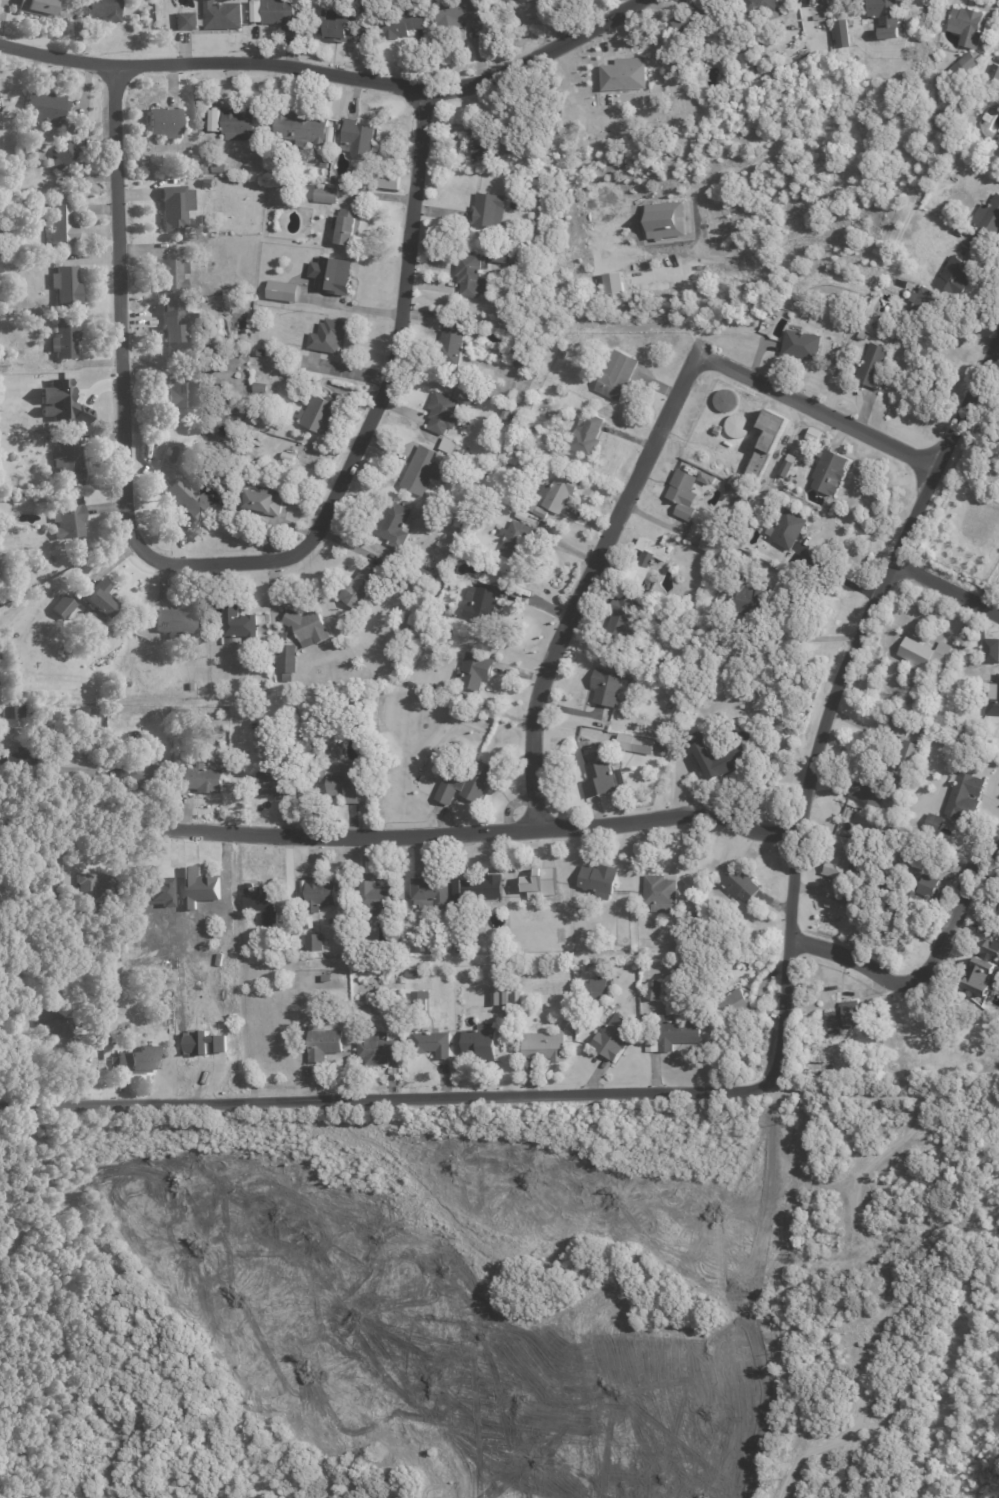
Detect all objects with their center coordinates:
building: (518, 0)
building: (513, 1)
building: (529, 1)
building: (760, 6)
building: (38, 7)
building: (105, 9)
building: (460, 12)
building: (885, 12)
building: (281, 13)
building: (222, 15)
building: (693, 20)
building: (187, 21)
building: (406, 24)
building: (338, 26)
building: (968, 26)
building: (835, 34)
building: (742, 43)
building: (764, 55)
building: (750, 59)
building: (998, 60)
building: (970, 61)
building: (620, 73)
road: (332, 74)
building: (994, 74)
building: (46, 107)
building: (216, 121)
building: (167, 123)
building: (239, 124)
building: (302, 129)
building: (358, 139)
building: (998, 142)
building: (489, 143)
building: (998, 153)
building: (65, 155)
building: (195, 159)
building: (324, 164)
building: (220, 168)
building: (948, 168)
building: (207, 170)
building: (326, 181)
building: (389, 181)
building: (208, 183)
building: (327, 194)
building: (177, 207)
building: (489, 209)
building: (989, 218)
building: (661, 219)
building: (62, 224)
building: (347, 227)
building: (957, 232)
building: (524, 246)
building: (501, 256)
building: (1, 266)
building: (471, 273)
building: (172, 275)
building: (332, 275)
building: (959, 277)
building: (610, 282)
building: (68, 287)
building: (284, 291)
building: (187, 299)
building: (511, 303)
road: (685, 303)
building: (926, 307)
building: (511, 318)
building: (177, 328)
building: (329, 337)
building: (67, 338)
building: (453, 338)
building: (802, 343)
building: (523, 352)
building: (262, 353)
building: (562, 355)
building: (494, 359)
road: (997, 360)
building: (875, 367)
building: (617, 374)
building: (259, 389)
building: (186, 392)
building: (468, 396)
building: (721, 399)
building: (57, 401)
road: (824, 409)
building: (443, 412)
building: (507, 413)
building: (320, 414)
building: (733, 425)
building: (531, 429)
building: (719, 429)
building: (230, 433)
building: (810, 434)
building: (587, 435)
building: (767, 442)
building: (448, 445)
building: (460, 452)
building: (250, 453)
building: (288, 457)
building: (467, 457)
building: (70, 458)
building: (788, 466)
building: (422, 470)
building: (831, 471)
building: (703, 477)
building: (16, 484)
building: (28, 485)
building: (472, 490)
building: (560, 490)
building: (683, 493)
building: (19, 497)
building: (191, 499)
building: (468, 499)
building: (493, 501)
building: (263, 503)
building: (742, 503)
building: (522, 515)
building: (70, 520)
building: (396, 524)
building: (789, 527)
building: (516, 539)
building: (709, 543)
building: (645, 561)
road: (215, 563)
building: (432, 564)
building: (426, 572)
road: (587, 578)
road: (841, 579)
building: (421, 583)
building: (363, 587)
building: (102, 600)
building: (482, 600)
building: (749, 600)
road: (946, 601)
building: (61, 608)
building: (437, 610)
building: (179, 620)
building: (624, 620)
building: (238, 623)
building: (740, 623)
building: (429, 625)
building: (308, 627)
building: (284, 635)
building: (990, 650)
building: (713, 652)
building: (921, 653)
building: (11, 655)
building: (273, 657)
building: (288, 661)
building: (664, 665)
building: (475, 670)
building: (189, 684)
building: (610, 687)
building: (924, 689)
building: (993, 697)
road: (831, 706)
building: (17, 710)
building: (41, 712)
building: (902, 727)
building: (780, 728)
building: (666, 732)
building: (254, 733)
building: (69, 736)
building: (81, 736)
building: (114, 740)
building: (44, 743)
building: (456, 744)
building: (637, 744)
building: (584, 745)
building: (663, 748)
building: (911, 753)
building: (591, 756)
building: (16, 757)
building: (721, 758)
building: (617, 762)
building: (71, 764)
building: (132, 771)
building: (202, 777)
building: (602, 779)
building: (276, 781)
building: (467, 781)
building: (347, 784)
building: (874, 785)
building: (964, 793)
building: (935, 823)
road: (399, 825)
building: (932, 848)
building: (840, 856)
building: (854, 876)
building: (600, 880)
building: (538, 881)
building: (742, 884)
building: (99, 885)
building: (196, 886)
building: (928, 886)
building: (479, 888)
building: (158, 889)
building: (41, 891)
building: (432, 893)
building: (661, 893)
building: (319, 894)
building: (378, 898)
building: (849, 899)
building: (997, 899)
building: (261, 904)
building: (998, 914)
building: (560, 936)
building: (313, 942)
building: (422, 944)
building: (595, 944)
building: (462, 945)
building: (272, 950)
building: (747, 962)
road: (922, 964)
building: (424, 970)
building: (431, 970)
building: (413, 974)
building: (977, 975)
building: (161, 976)
building: (326, 978)
building: (600, 985)
building: (655, 990)
building: (393, 991)
building: (500, 996)
building: (517, 999)
building: (420, 1001)
building: (736, 1005)
building: (58, 1018)
building: (845, 1020)
building: (674, 1033)
building: (615, 1038)
building: (971, 1039)
building: (6, 1041)
building: (199, 1041)
building: (324, 1043)
building: (481, 1043)
building: (432, 1044)
building: (544, 1047)
building: (378, 1049)
building: (140, 1058)
building: (941, 1061)
road: (387, 1101)

